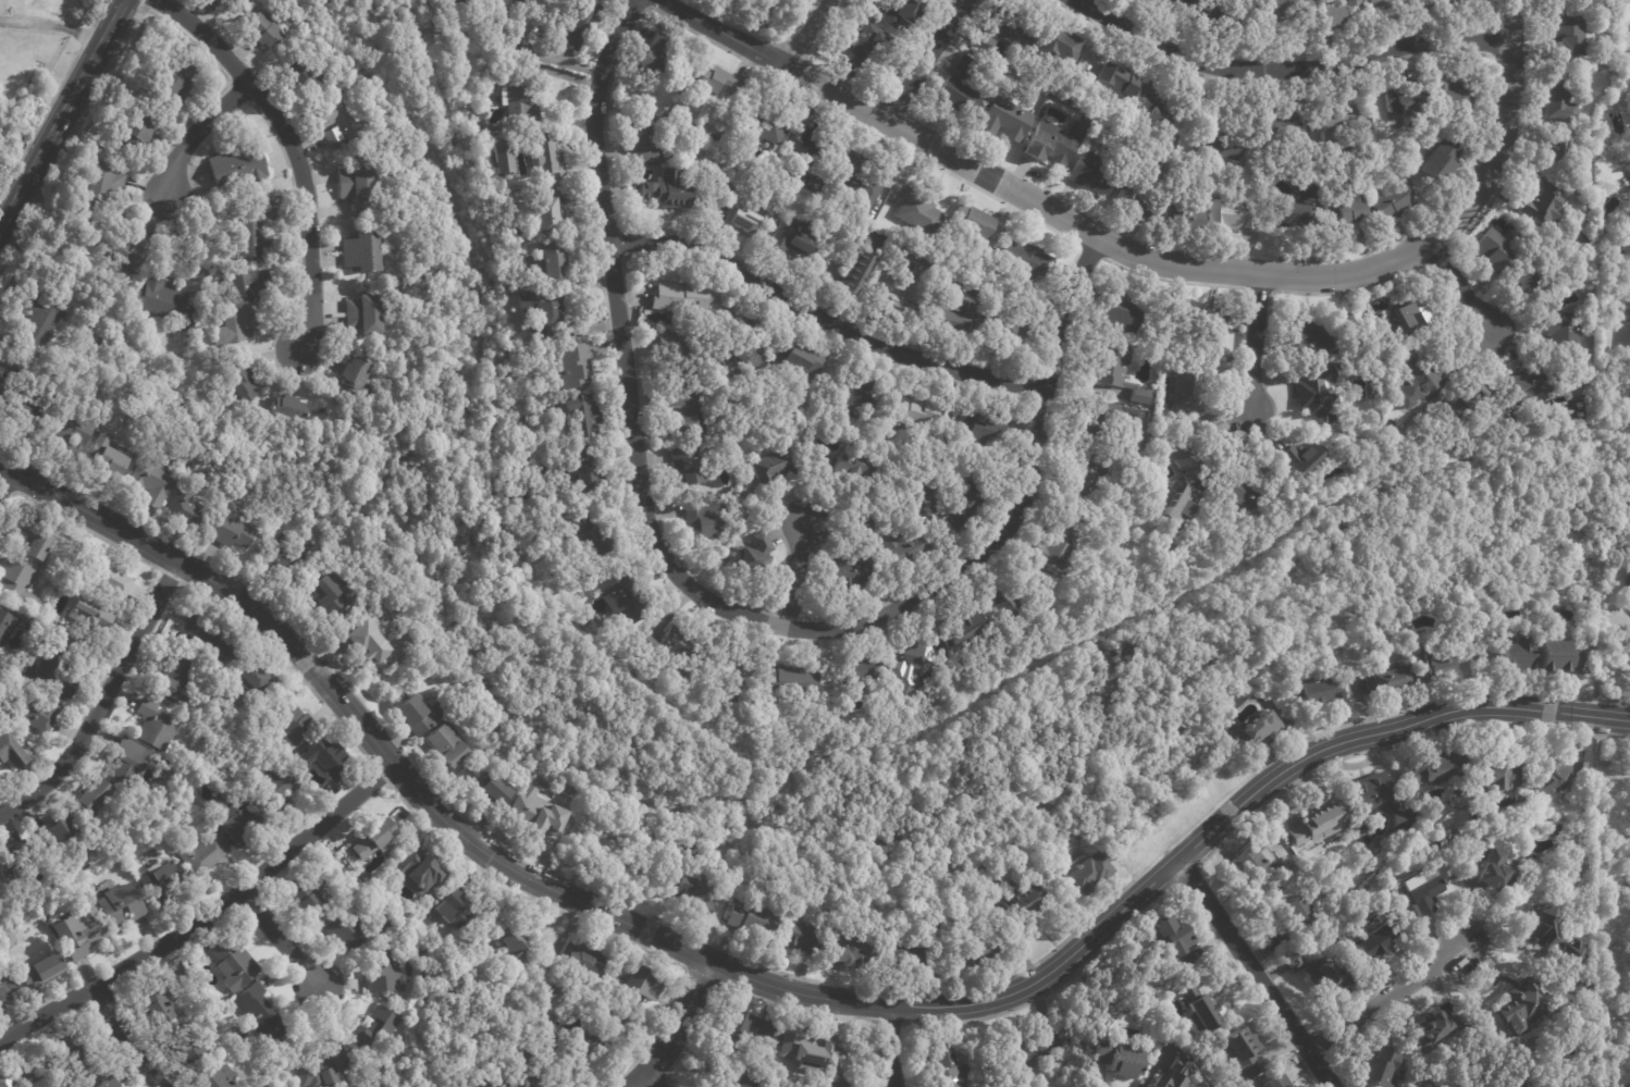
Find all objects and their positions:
building: (0, 0)
building: (213, 0)
building: (221, 2)
building: (1183, 2)
building: (457, 3)
building: (511, 4)
building: (1559, 4)
building: (1353, 5)
building: (1385, 5)
building: (1458, 5)
building: (1287, 9)
building: (1225, 12)
building: (899, 13)
building: (1330, 18)
building: (579, 25)
road: (51, 26)
building: (260, 29)
road: (724, 33)
road: (806, 33)
building: (1002, 36)
building: (1569, 37)
building: (867, 47)
building: (1057, 47)
road: (523, 51)
building: (651, 53)
road: (926, 60)
road: (1293, 64)
building: (300, 79)
building: (717, 81)
building: (175, 82)
building: (1115, 83)
building: (960, 90)
building: (1450, 94)
building: (1408, 99)
building: (1560, 99)
building: (517, 103)
building: (664, 107)
building: (1154, 109)
road: (61, 111)
building: (336, 120)
building: (1004, 122)
building: (765, 126)
building: (1285, 127)
building: (1339, 128)
building: (138, 129)
road: (199, 132)
building: (644, 141)
building: (1367, 144)
building: (807, 145)
building: (1052, 145)
building: (1223, 145)
building: (1559, 145)
road: (293, 147)
building: (548, 156)
building: (495, 158)
building: (237, 163)
building: (720, 165)
building: (1438, 166)
building: (1576, 170)
building: (1094, 175)
building: (860, 178)
building: (355, 184)
building: (99, 185)
building: (666, 190)
building: (1134, 202)
building: (1394, 202)
building: (1542, 203)
building: (1295, 208)
building: (546, 212)
building: (1350, 212)
building: (919, 213)
building: (1234, 217)
building: (740, 218)
building: (775, 219)
building: (1185, 221)
building: (248, 230)
building: (974, 231)
building: (792, 237)
building: (133, 250)
building: (1496, 250)
building: (360, 252)
building: (1027, 260)
building: (545, 261)
building: (857, 268)
road: (1220, 269)
building: (1524, 280)
building: (1556, 284)
road: (1459, 287)
building: (392, 291)
building: (893, 295)
building: (680, 298)
building: (168, 300)
building: (238, 304)
building: (1416, 311)
building: (1122, 312)
building: (361, 314)
road: (825, 316)
building: (948, 317)
building: (547, 318)
building: (1207, 318)
building: (34, 322)
building: (1002, 323)
building: (1561, 330)
building: (1312, 336)
road: (1255, 341)
building: (689, 353)
building: (746, 358)
building: (800, 360)
building: (572, 366)
building: (1117, 372)
building: (1416, 375)
building: (354, 376)
building: (1190, 381)
building: (238, 382)
building: (1, 383)
building: (1531, 384)
building: (1313, 394)
building: (853, 397)
building: (1468, 402)
building: (286, 408)
building: (687, 411)
building: (915, 411)
building: (578, 413)
building: (23, 415)
building: (1102, 420)
building: (981, 427)
building: (72, 433)
building: (1189, 449)
building: (1305, 458)
building: (111, 461)
building: (686, 466)
building: (770, 468)
building: (849, 471)
building: (584, 472)
road: (5, 480)
building: (1086, 480)
building: (150, 482)
building: (1239, 487)
building: (959, 502)
building: (1182, 504)
building: (183, 506)
building: (704, 522)
building: (232, 531)
building: (588, 533)
building: (34, 539)
building: (909, 540)
building: (1057, 549)
building: (751, 555)
building: (279, 556)
building: (855, 559)
road: (797, 573)
building: (106, 578)
building: (1628, 579)
building: (17, 584)
building: (329, 592)
building: (1629, 594)
building: (620, 601)
road: (711, 601)
building: (1014, 602)
building: (84, 612)
building: (3, 628)
building: (964, 631)
building: (209, 637)
building: (362, 642)
building: (678, 654)
building: (1517, 657)
building: (0, 659)
building: (1558, 659)
building: (918, 666)
building: (1432, 668)
building: (54, 670)
building: (861, 674)
building: (174, 675)
building: (251, 676)
building: (1388, 679)
building: (734, 684)
building: (790, 684)
building: (1317, 693)
road: (104, 701)
building: (32, 713)
building: (418, 717)
building: (155, 719)
building: (294, 725)
building: (1256, 733)
building: (445, 746)
building: (8, 752)
building: (328, 759)
building: (128, 763)
building: (1440, 767)
building: (1501, 775)
building: (1564, 775)
building: (276, 786)
building: (487, 789)
building: (90, 796)
building: (1375, 801)
building: (526, 819)
building: (240, 823)
building: (1320, 824)
building: (58, 829)
building: (372, 839)
building: (200, 853)
building: (4, 864)
building: (1254, 866)
building: (413, 872)
building: (1498, 873)
building: (1088, 875)
building: (158, 884)
building: (1424, 889)
building: (305, 899)
building: (691, 899)
building: (459, 902)
building: (1027, 904)
building: (113, 907)
building: (1297, 911)
road: (206, 917)
building: (753, 921)
building: (1545, 925)
building: (346, 928)
building: (75, 934)
building: (1173, 936)
road: (281, 938)
building: (801, 938)
building: (1374, 942)
building: (516, 944)
building: (986, 952)
building: (1573, 952)
building: (843, 953)
building: (910, 956)
building: (1295, 961)
building: (583, 963)
building: (232, 964)
building: (40, 968)
building: (382, 971)
road: (1257, 973)
building: (1330, 976)
building: (639, 986)
road: (776, 986)
building: (5, 987)
road: (1387, 998)
building: (150, 1004)
building: (1519, 1004)
building: (1200, 1011)
building: (259, 1013)
building: (544, 1028)
road: (676, 1028)
building: (1434, 1028)
building: (375, 1029)
building: (738, 1030)
road: (126, 1037)
building: (591, 1045)
building: (823, 1046)
road: (888, 1046)
building: (185, 1049)
building: (1026, 1050)
building: (1242, 1052)
building: (73, 1057)
building: (1117, 1060)
building: (946, 1069)
building: (1382, 1070)
building: (317, 1075)
building: (1174, 1075)
building: (518, 1077)
building: (736, 1077)
building: (220, 1078)
road: (654, 1078)
building: (4, 1080)
building: (108, 1082)
building: (1275, 1082)
building: (481, 1083)
building: (839, 1083)
building: (1560, 1085)
building: (281, 1086)
building: (1294, 1086)

